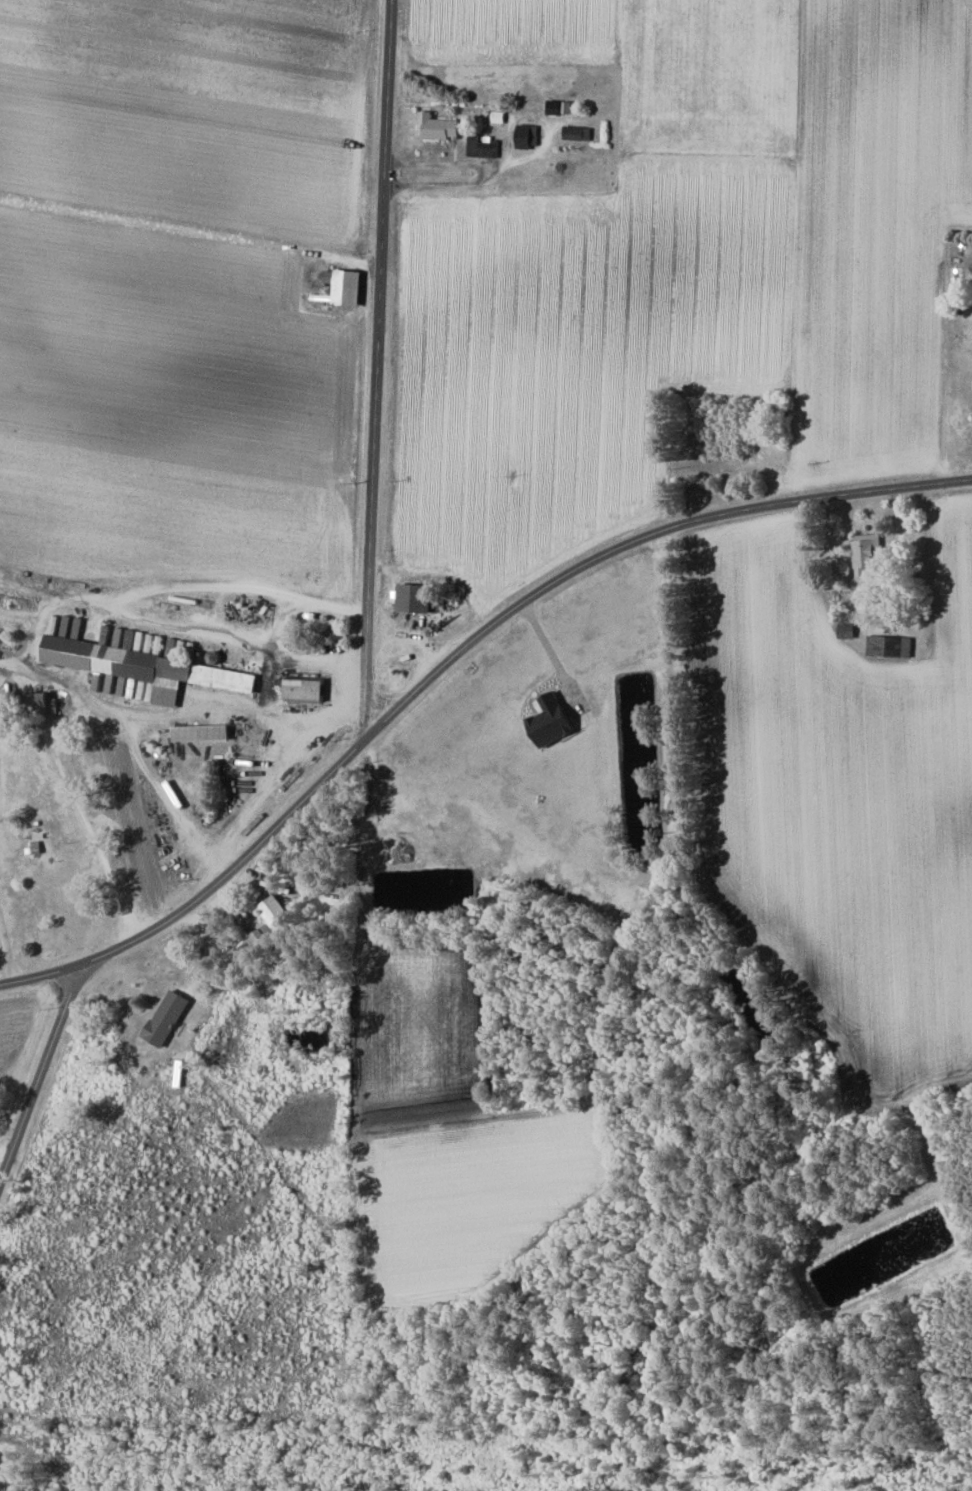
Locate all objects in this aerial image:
road: (546, 125)
building: (438, 126)
building: (577, 132)
building: (528, 135)
road: (435, 161)
road: (437, 183)
building: (347, 286)
road: (378, 369)
building: (867, 552)
building: (416, 597)
road: (37, 620)
building: (847, 630)
building: (890, 645)
road: (552, 653)
road: (13, 661)
road: (451, 661)
building: (149, 667)
road: (345, 687)
building: (306, 689)
building: (47, 703)
road: (248, 712)
building: (553, 720)
building: (203, 732)
road: (261, 761)
road: (83, 825)
building: (277, 913)
building: (258, 941)
road: (6, 953)
building: (167, 1017)
road: (33, 1029)
road: (40, 1060)
road: (0, 1152)

